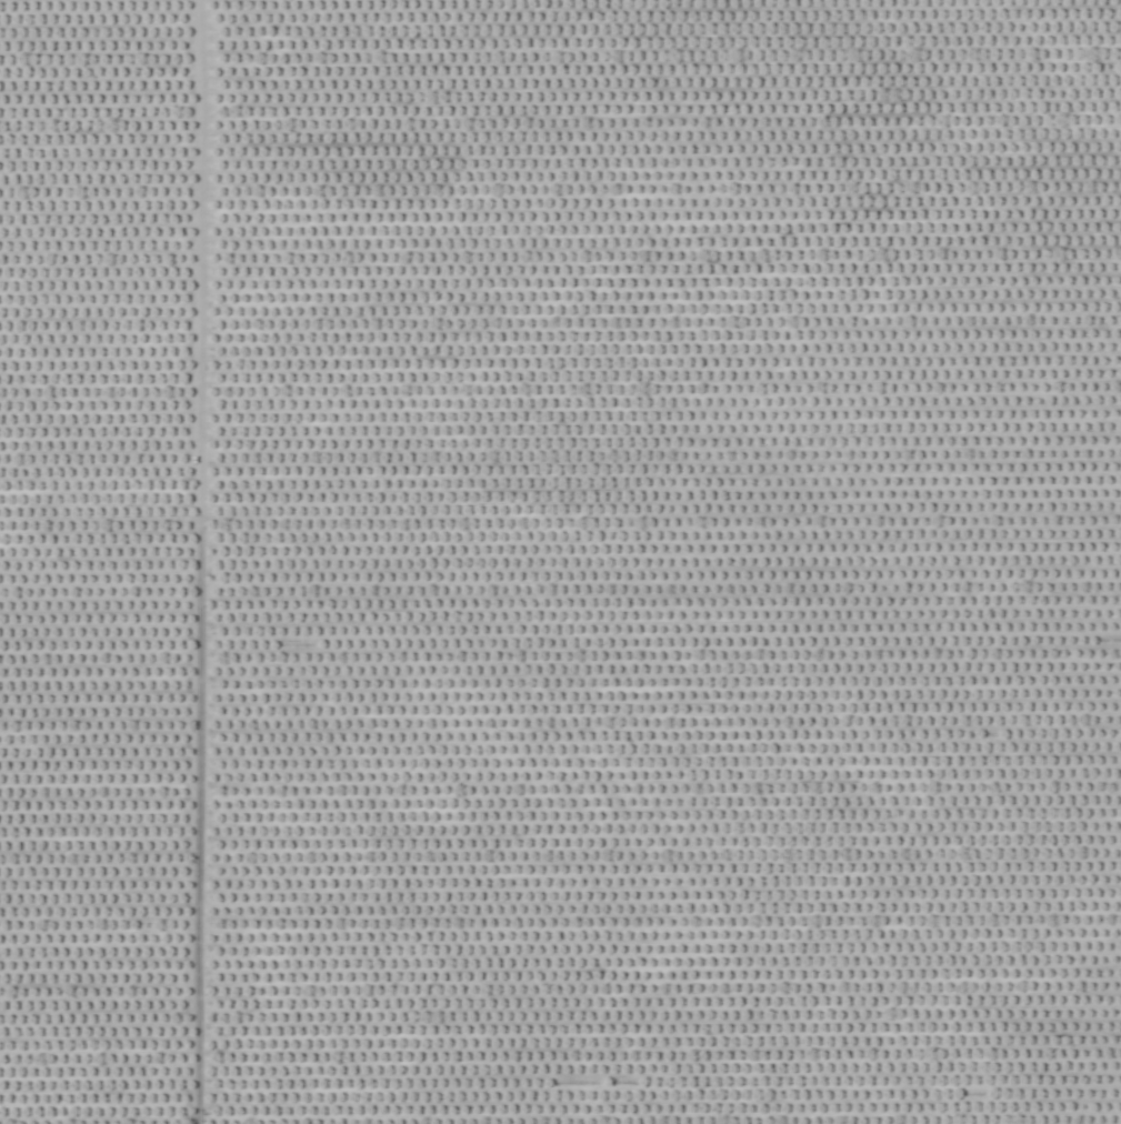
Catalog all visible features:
road: (192, 562)
crop: (560, 562)

